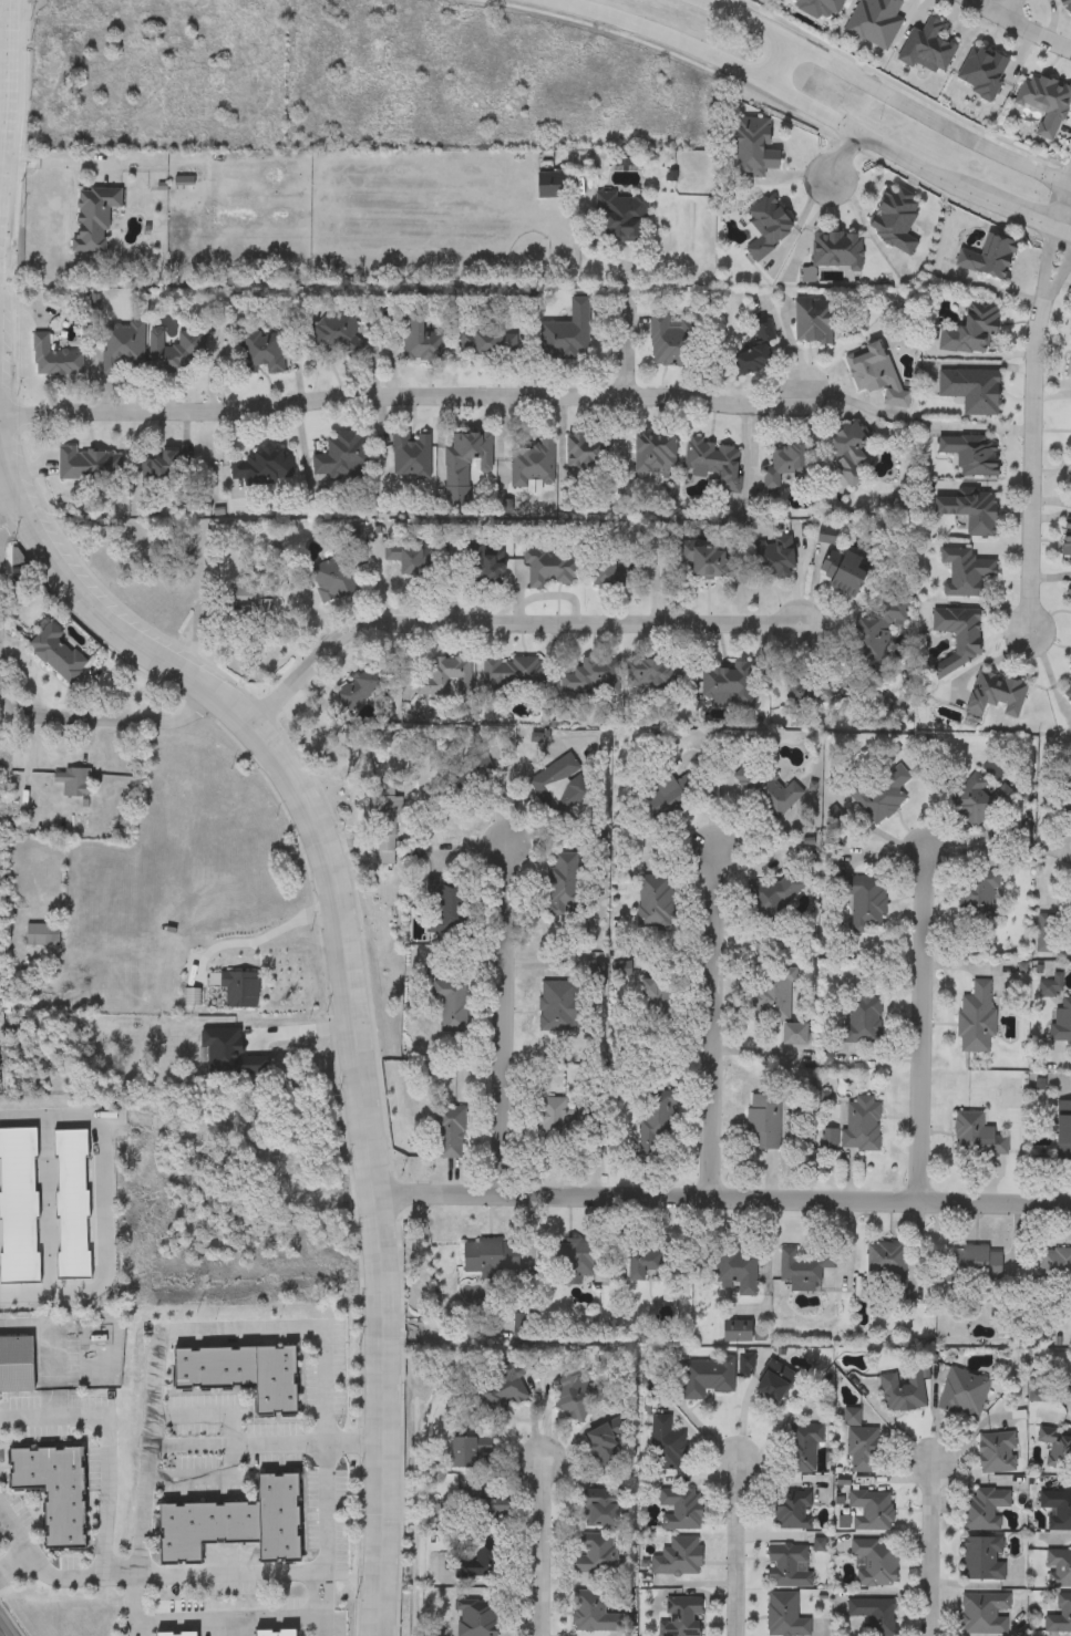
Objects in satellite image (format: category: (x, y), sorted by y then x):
building: (1064, 7)
building: (820, 8)
road: (1009, 8)
building: (875, 22)
road: (1021, 25)
road: (656, 33)
building: (927, 48)
road: (771, 58)
building: (982, 70)
road: (2, 90)
road: (887, 92)
building: (1044, 102)
road: (872, 143)
building: (754, 147)
road: (843, 156)
building: (622, 216)
road: (1028, 217)
building: (94, 218)
building: (895, 219)
road: (1069, 227)
building: (768, 228)
road: (1069, 232)
building: (837, 251)
building: (988, 258)
building: (814, 321)
building: (971, 330)
building: (336, 334)
building: (567, 334)
building: (421, 341)
road: (629, 341)
building: (487, 342)
building: (671, 342)
building: (122, 349)
building: (174, 352)
building: (261, 353)
building: (755, 353)
building: (53, 359)
building: (1068, 365)
building: (875, 374)
building: (972, 390)
road: (408, 403)
road: (1032, 428)
building: (848, 452)
building: (587, 453)
building: (655, 453)
building: (971, 454)
building: (343, 456)
building: (411, 456)
building: (714, 462)
building: (783, 464)
building: (89, 465)
building: (465, 465)
building: (531, 465)
building: (161, 468)
building: (262, 469)
building: (969, 511)
road: (8, 519)
building: (1067, 541)
building: (772, 558)
building: (409, 561)
building: (703, 561)
building: (484, 566)
building: (553, 570)
building: (618, 573)
building: (844, 573)
building: (965, 573)
building: (333, 580)
building: (1069, 594)
building: (250, 602)
road: (508, 622)
building: (877, 628)
building: (959, 636)
building: (56, 654)
building: (1070, 663)
building: (513, 671)
road: (1049, 673)
building: (653, 674)
building: (446, 677)
building: (591, 677)
building: (727, 684)
building: (359, 688)
building: (1068, 692)
building: (801, 695)
building: (996, 695)
road: (104, 722)
building: (554, 780)
building: (72, 781)
building: (464, 781)
building: (765, 788)
building: (882, 794)
building: (666, 798)
building: (978, 801)
building: (1067, 804)
building: (384, 818)
road: (323, 847)
building: (566, 887)
building: (979, 898)
building: (655, 901)
building: (866, 904)
building: (446, 908)
building: (1047, 933)
building: (42, 935)
road: (266, 936)
building: (238, 991)
building: (772, 993)
building: (653, 994)
building: (452, 1005)
building: (563, 1005)
building: (976, 1018)
building: (862, 1019)
road: (502, 1022)
building: (1062, 1023)
road: (711, 1024)
road: (923, 1025)
road: (299, 1031)
building: (795, 1037)
building: (192, 1057)
building: (554, 1121)
building: (763, 1121)
building: (861, 1124)
building: (657, 1125)
building: (1063, 1130)
building: (450, 1131)
building: (976, 1136)
road: (724, 1200)
road: (105, 1207)
building: (491, 1255)
building: (573, 1256)
building: (643, 1264)
building: (886, 1264)
building: (972, 1264)
building: (1054, 1265)
building: (802, 1269)
building: (737, 1272)
road: (239, 1327)
building: (741, 1334)
building: (16, 1365)
building: (745, 1367)
road: (59, 1375)
building: (241, 1375)
building: (707, 1377)
building: (1070, 1378)
building: (775, 1383)
building: (497, 1390)
building: (902, 1391)
building: (964, 1394)
building: (574, 1396)
road: (236, 1441)
road: (353, 1441)
building: (605, 1443)
building: (665, 1445)
building: (803, 1447)
building: (1055, 1448)
building: (466, 1452)
building: (997, 1452)
road: (203, 1477)
road: (107, 1478)
building: (53, 1491)
building: (601, 1506)
building: (485, 1508)
building: (984, 1509)
building: (1057, 1509)
building: (680, 1510)
building: (792, 1511)
building: (871, 1511)
building: (235, 1524)
road: (325, 1539)
road: (140, 1540)
road: (542, 1546)
road: (738, 1547)
road: (931, 1547)
building: (596, 1557)
building: (678, 1557)
building: (982, 1559)
building: (483, 1563)
building: (875, 1563)
road: (14, 1564)
building: (787, 1566)
building: (1059, 1570)
road: (145, 1573)
building: (594, 1614)
building: (984, 1614)
building: (874, 1615)
building: (1059, 1615)
building: (682, 1616)
building: (784, 1616)
road: (231, 1618)
building: (477, 1621)
road: (4, 1628)
building: (276, 1633)
building: (176, 1634)

